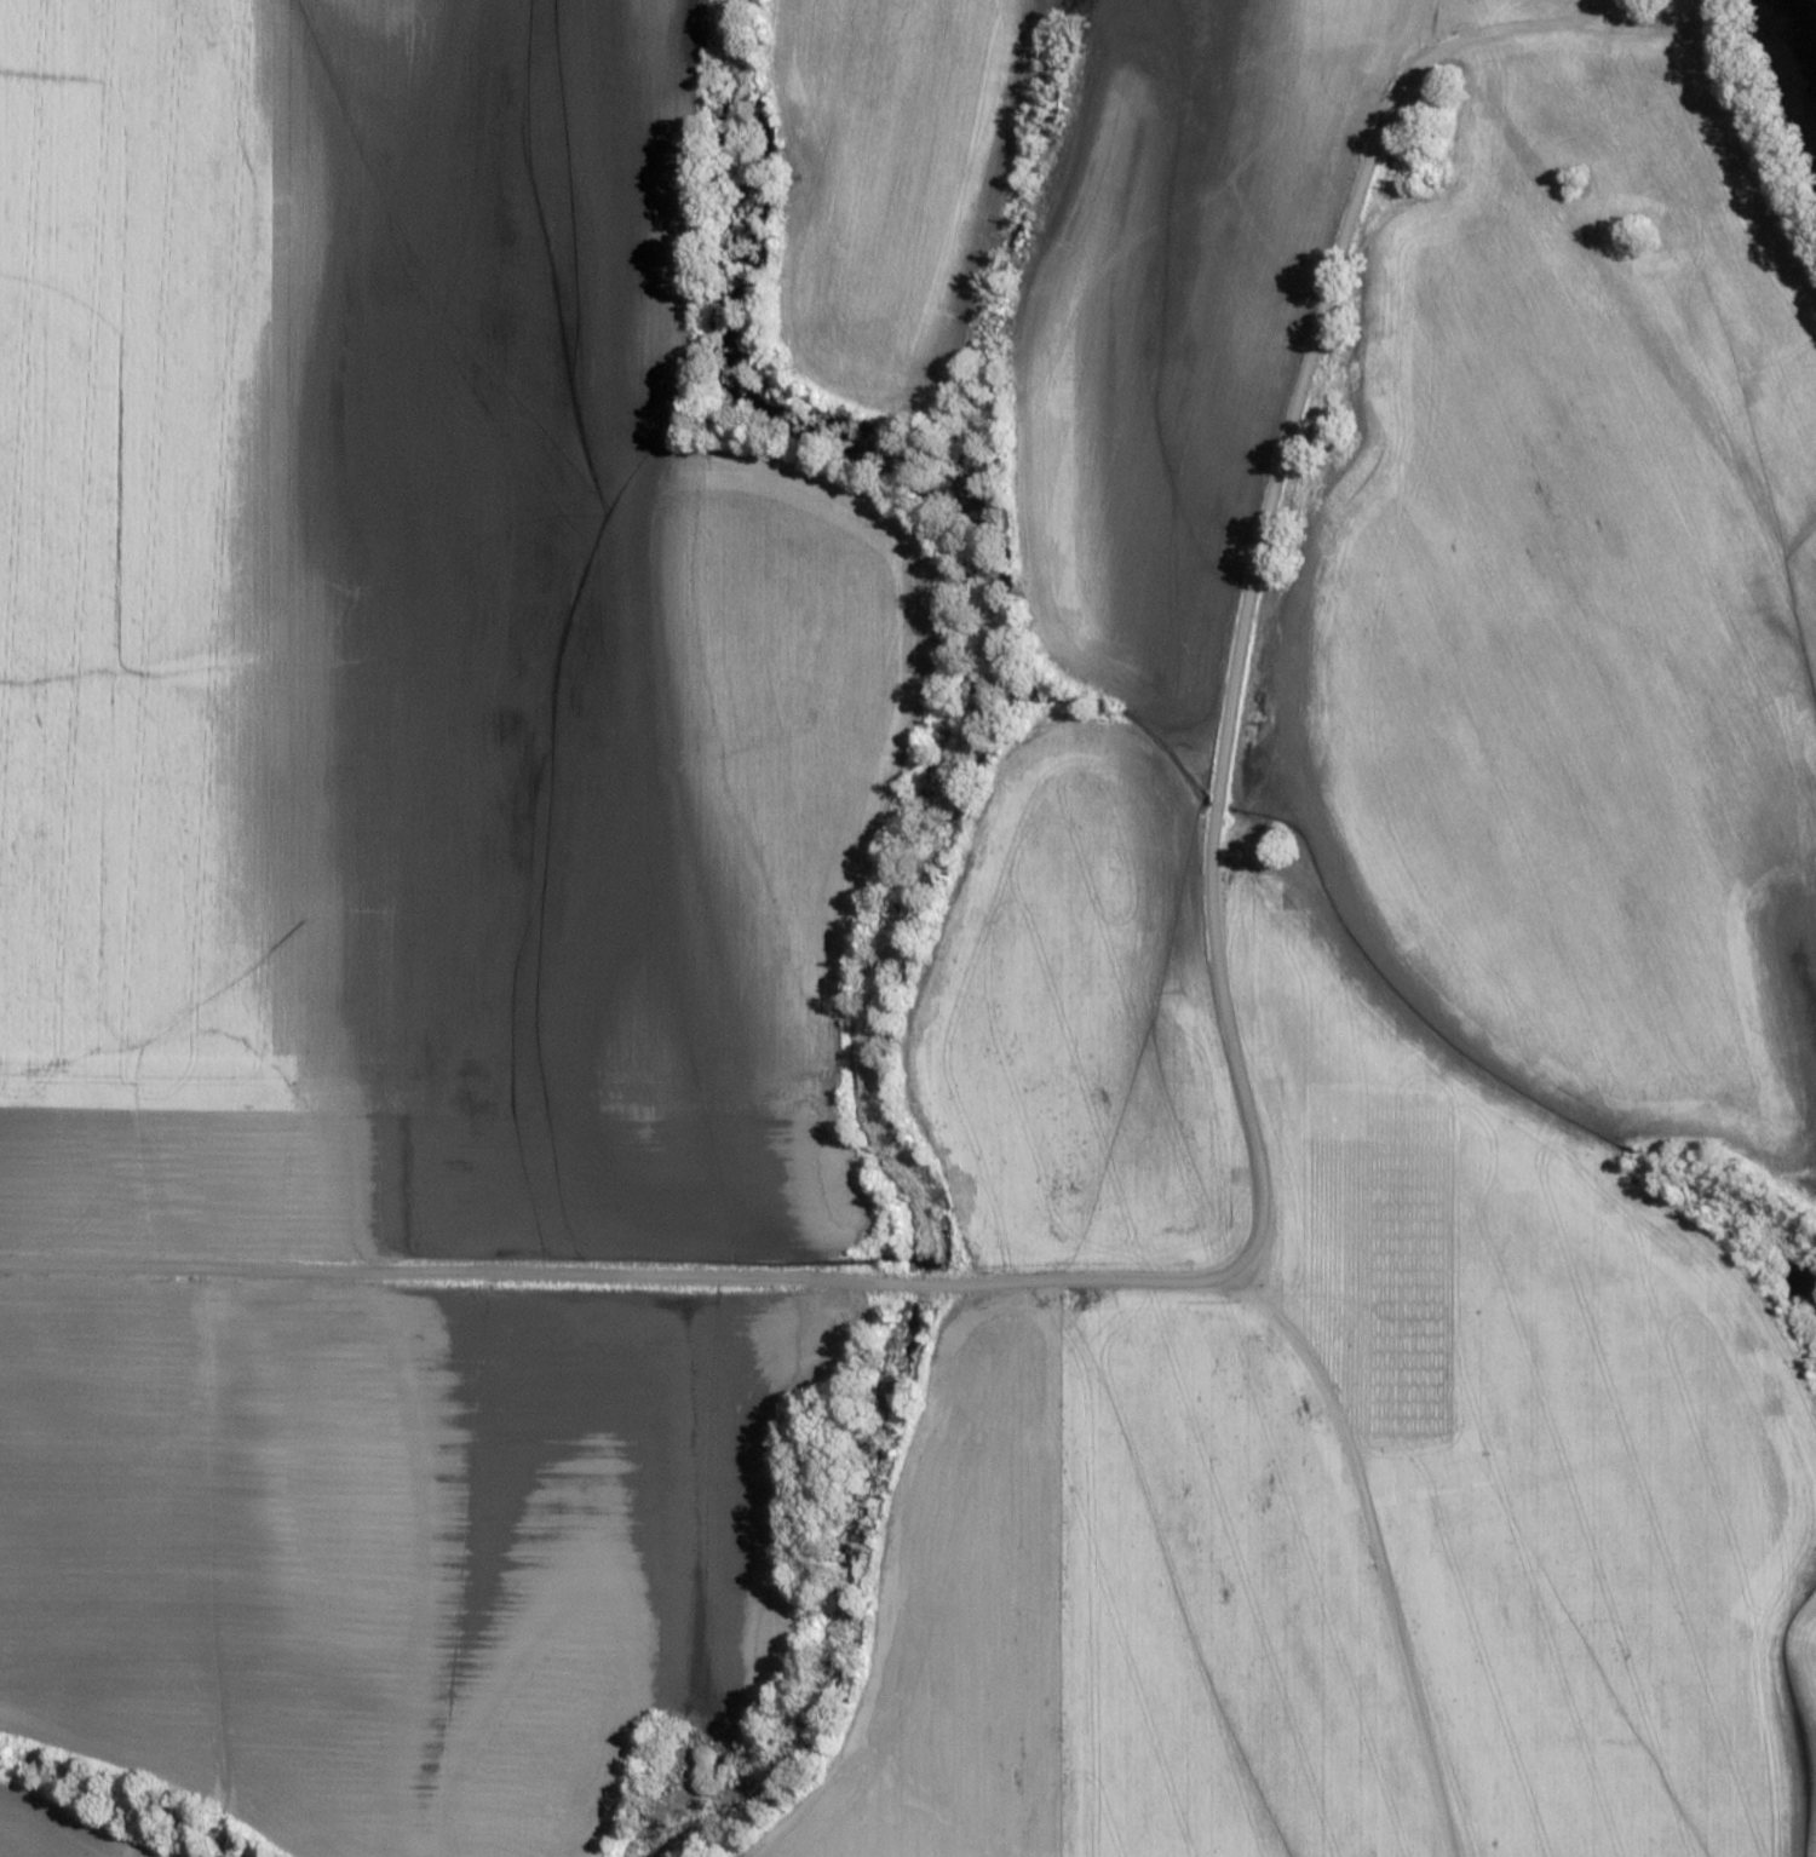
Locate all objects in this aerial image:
road: (1475, 165)
road: (1208, 1143)
road: (1375, 1506)

